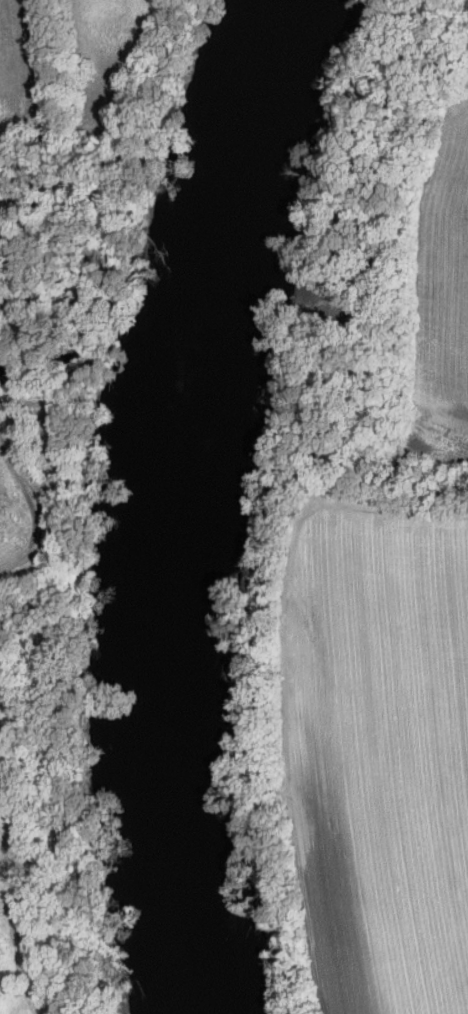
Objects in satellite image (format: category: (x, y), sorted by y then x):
river: (161, 500)
road: (277, 675)

